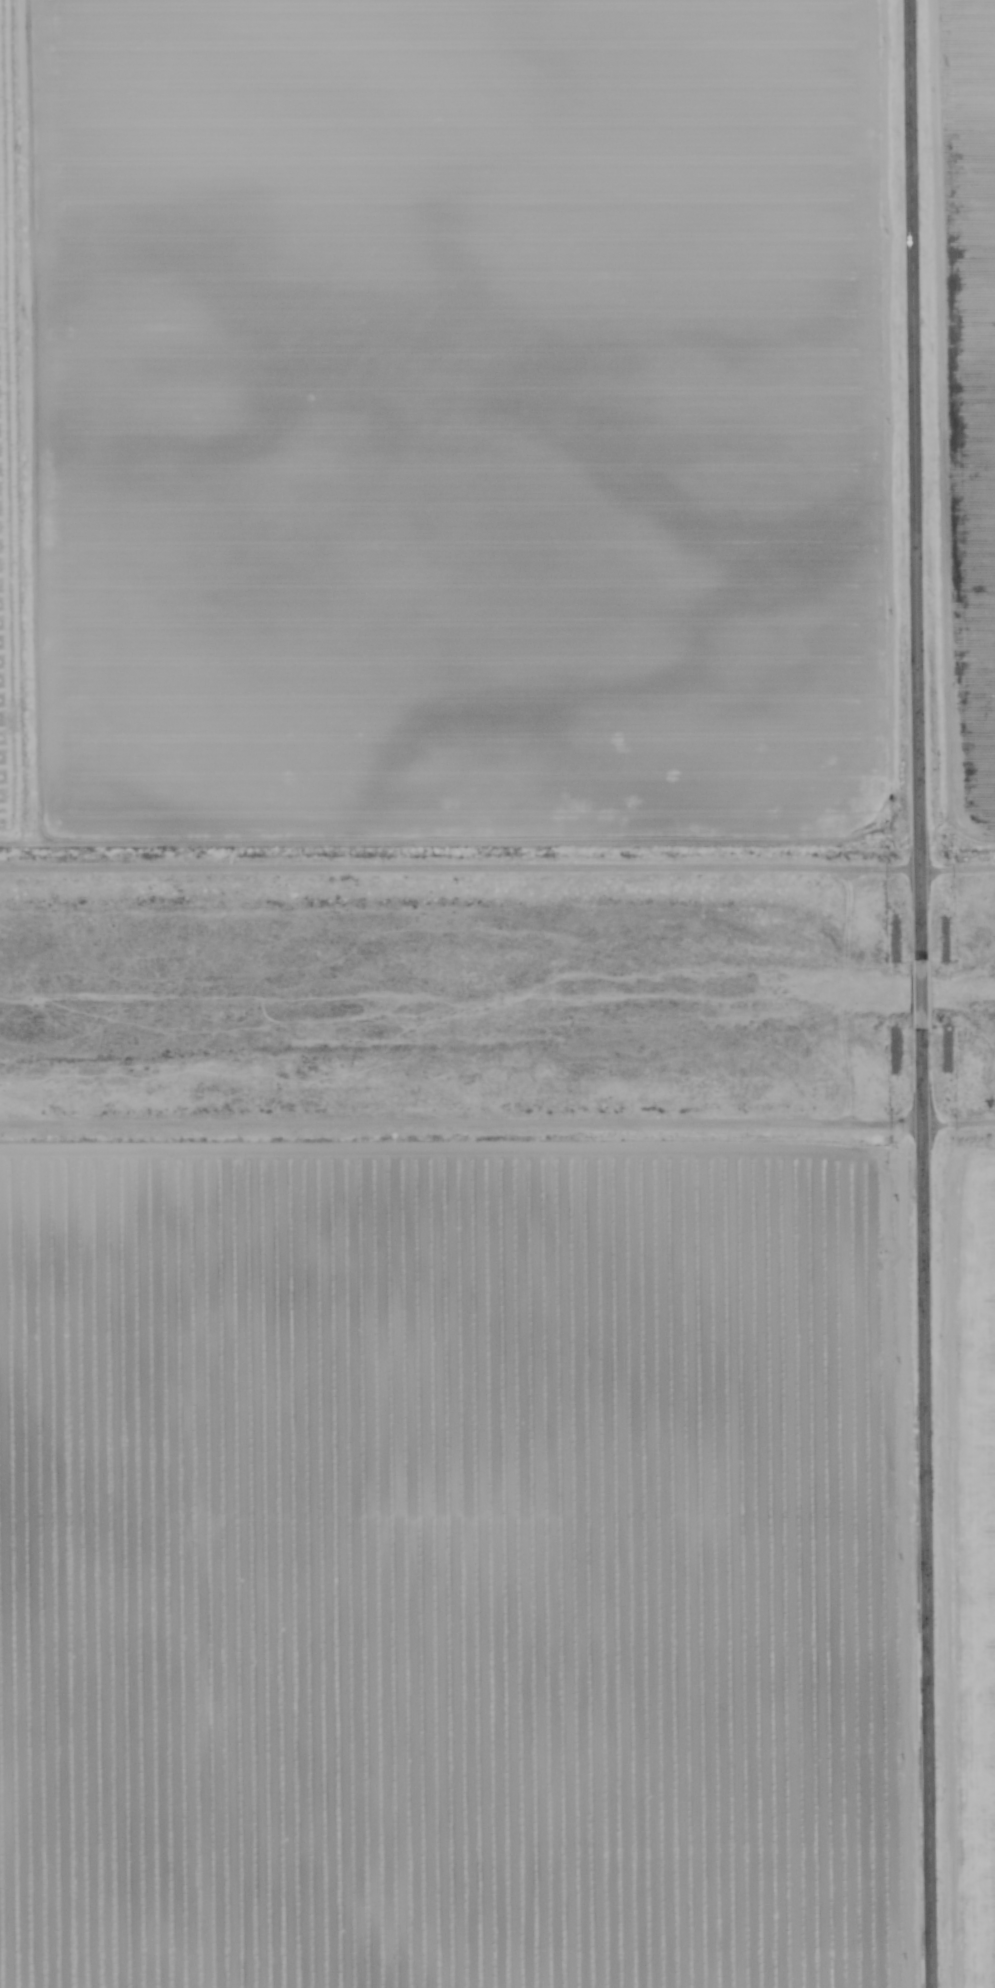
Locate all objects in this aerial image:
crop: (497, 432)
road: (914, 481)
road: (920, 997)
road: (497, 1130)
road: (926, 1509)
crop: (497, 1569)

